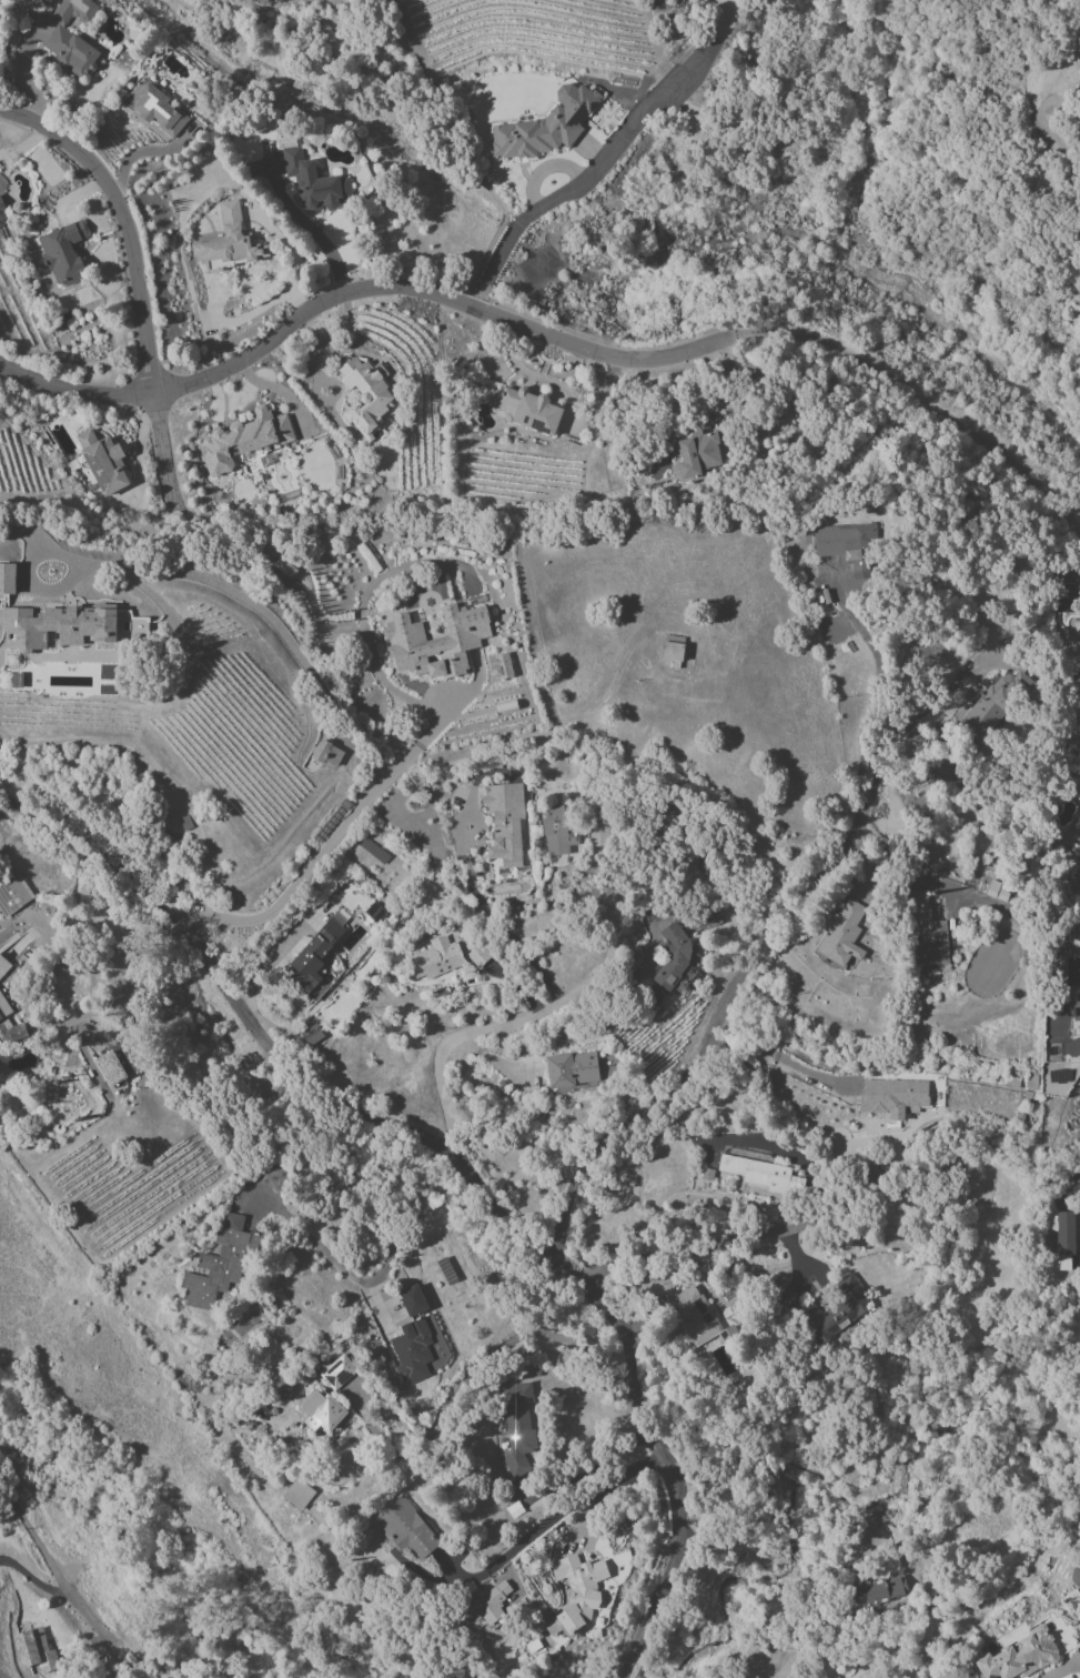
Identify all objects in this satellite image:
road: (232, 14)
building: (71, 37)
road: (29, 89)
building: (154, 108)
building: (545, 125)
road: (451, 142)
road: (125, 162)
road: (582, 182)
building: (315, 183)
building: (2, 217)
road: (121, 223)
road: (305, 224)
building: (232, 242)
building: (62, 253)
road: (359, 293)
road: (774, 389)
road: (276, 391)
building: (364, 396)
road: (923, 402)
building: (528, 410)
building: (243, 439)
road: (138, 448)
road: (161, 448)
building: (697, 454)
building: (102, 462)
building: (845, 545)
building: (7, 579)
road: (220, 586)
building: (58, 626)
road: (862, 640)
building: (435, 642)
building: (499, 666)
building: (990, 705)
building: (1079, 730)
road: (418, 746)
building: (326, 754)
building: (504, 822)
building: (925, 863)
building: (1077, 874)
road: (302, 886)
building: (374, 912)
road: (496, 920)
building: (844, 930)
building: (926, 931)
building: (477, 955)
building: (435, 958)
building: (673, 958)
road: (132, 985)
road: (737, 992)
building: (1076, 1005)
road: (538, 1017)
building: (9, 1028)
building: (311, 1034)
road: (783, 1061)
building: (114, 1065)
building: (572, 1069)
building: (894, 1097)
road: (457, 1164)
building: (760, 1174)
building: (1063, 1240)
road: (679, 1256)
building: (219, 1265)
road: (369, 1279)
road: (877, 1292)
road: (803, 1298)
building: (412, 1300)
building: (798, 1309)
building: (694, 1315)
building: (411, 1350)
building: (336, 1373)
road: (457, 1386)
building: (321, 1411)
building: (518, 1428)
road: (669, 1429)
road: (848, 1443)
road: (592, 1469)
building: (297, 1494)
building: (405, 1529)
road: (36, 1544)
building: (1074, 1575)
road: (38, 1576)
building: (878, 1589)
building: (576, 1592)
building: (491, 1605)
road: (930, 1616)
road: (98, 1638)
building: (34, 1650)
building: (1020, 1656)
building: (191, 1677)

